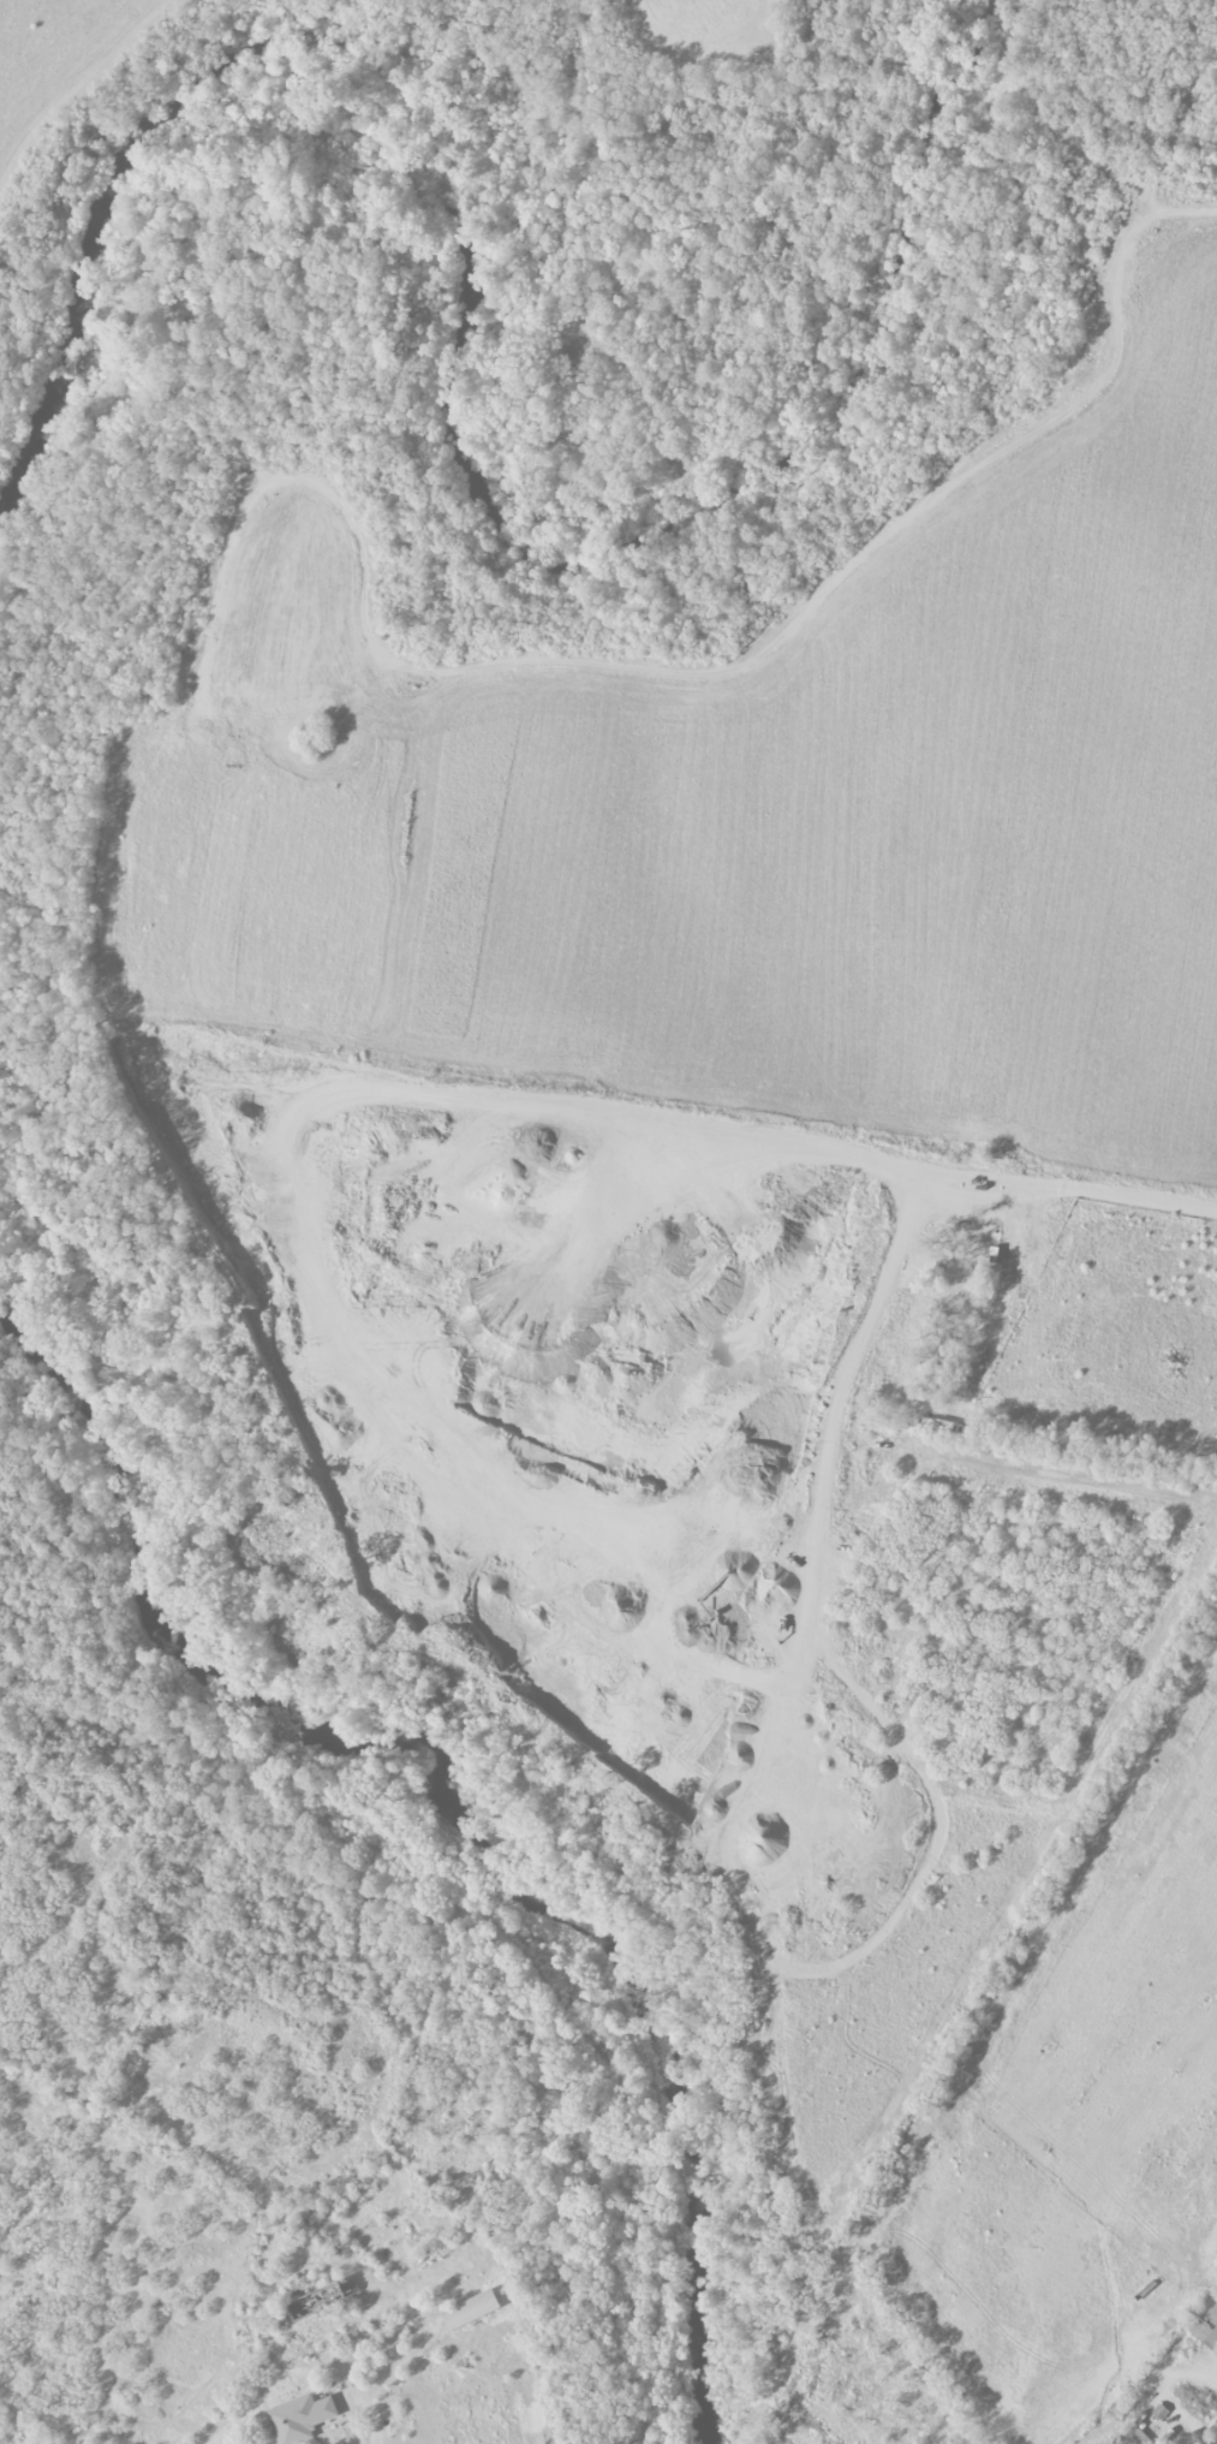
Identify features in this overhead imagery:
building: (1209, 2326)
building: (303, 2418)
road: (356, 2431)
building: (1215, 2431)

